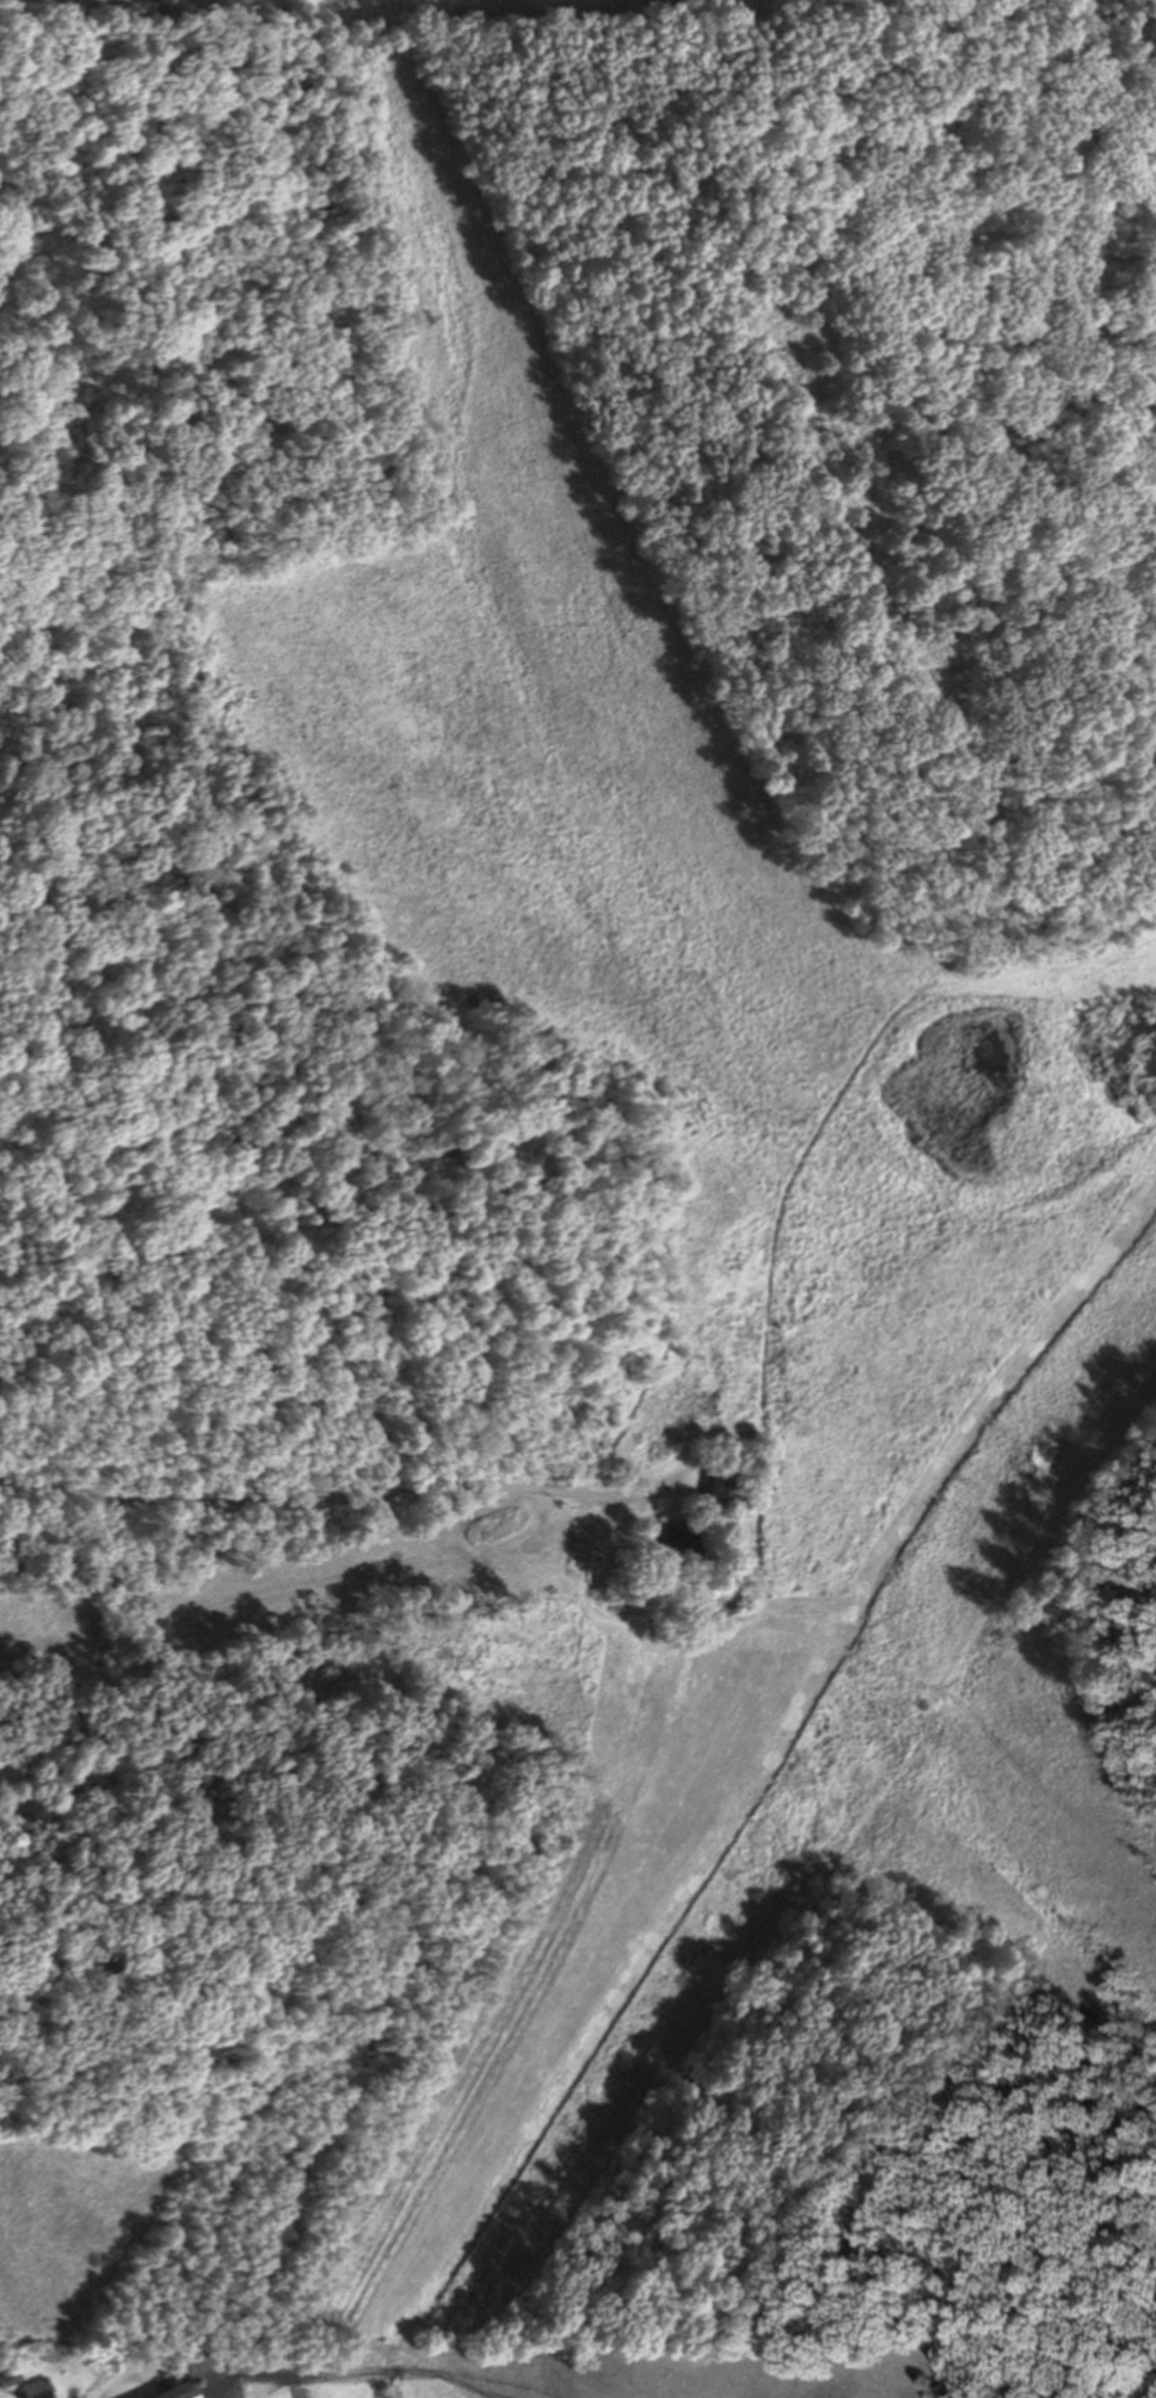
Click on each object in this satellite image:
building: (724, 1475)
road: (345, 1498)
building: (680, 1541)
building: (11, 2377)
building: (38, 2387)
building: (167, 2391)

